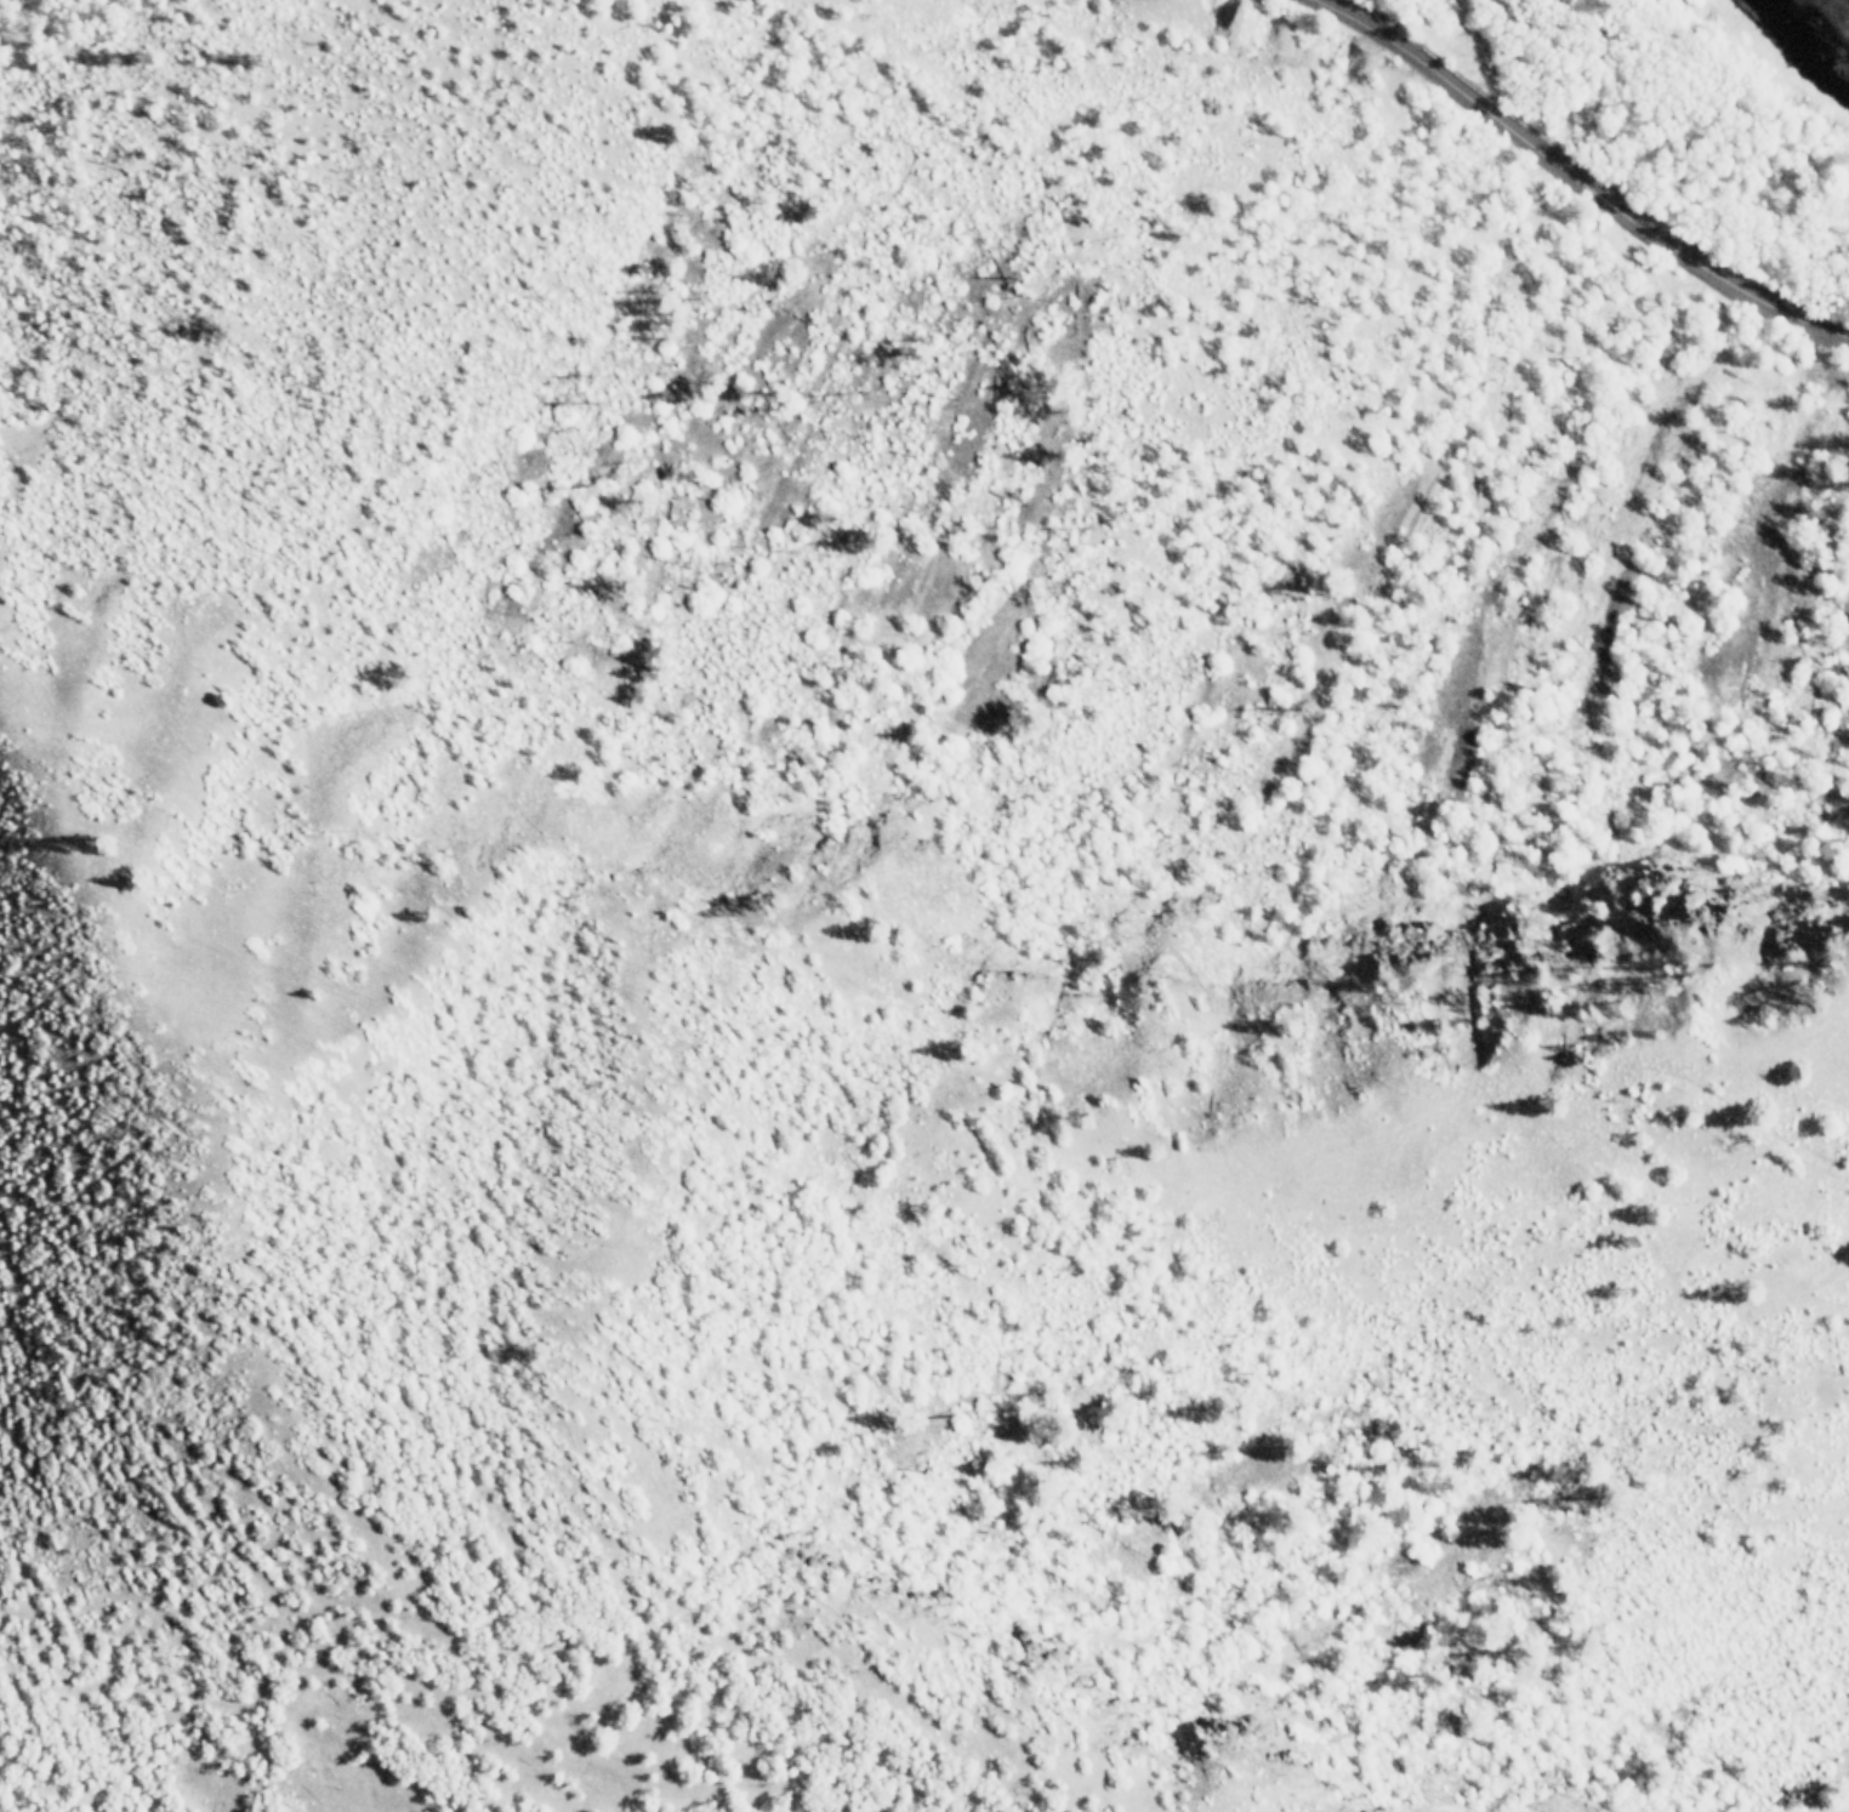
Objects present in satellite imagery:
road: (1574, 181)

